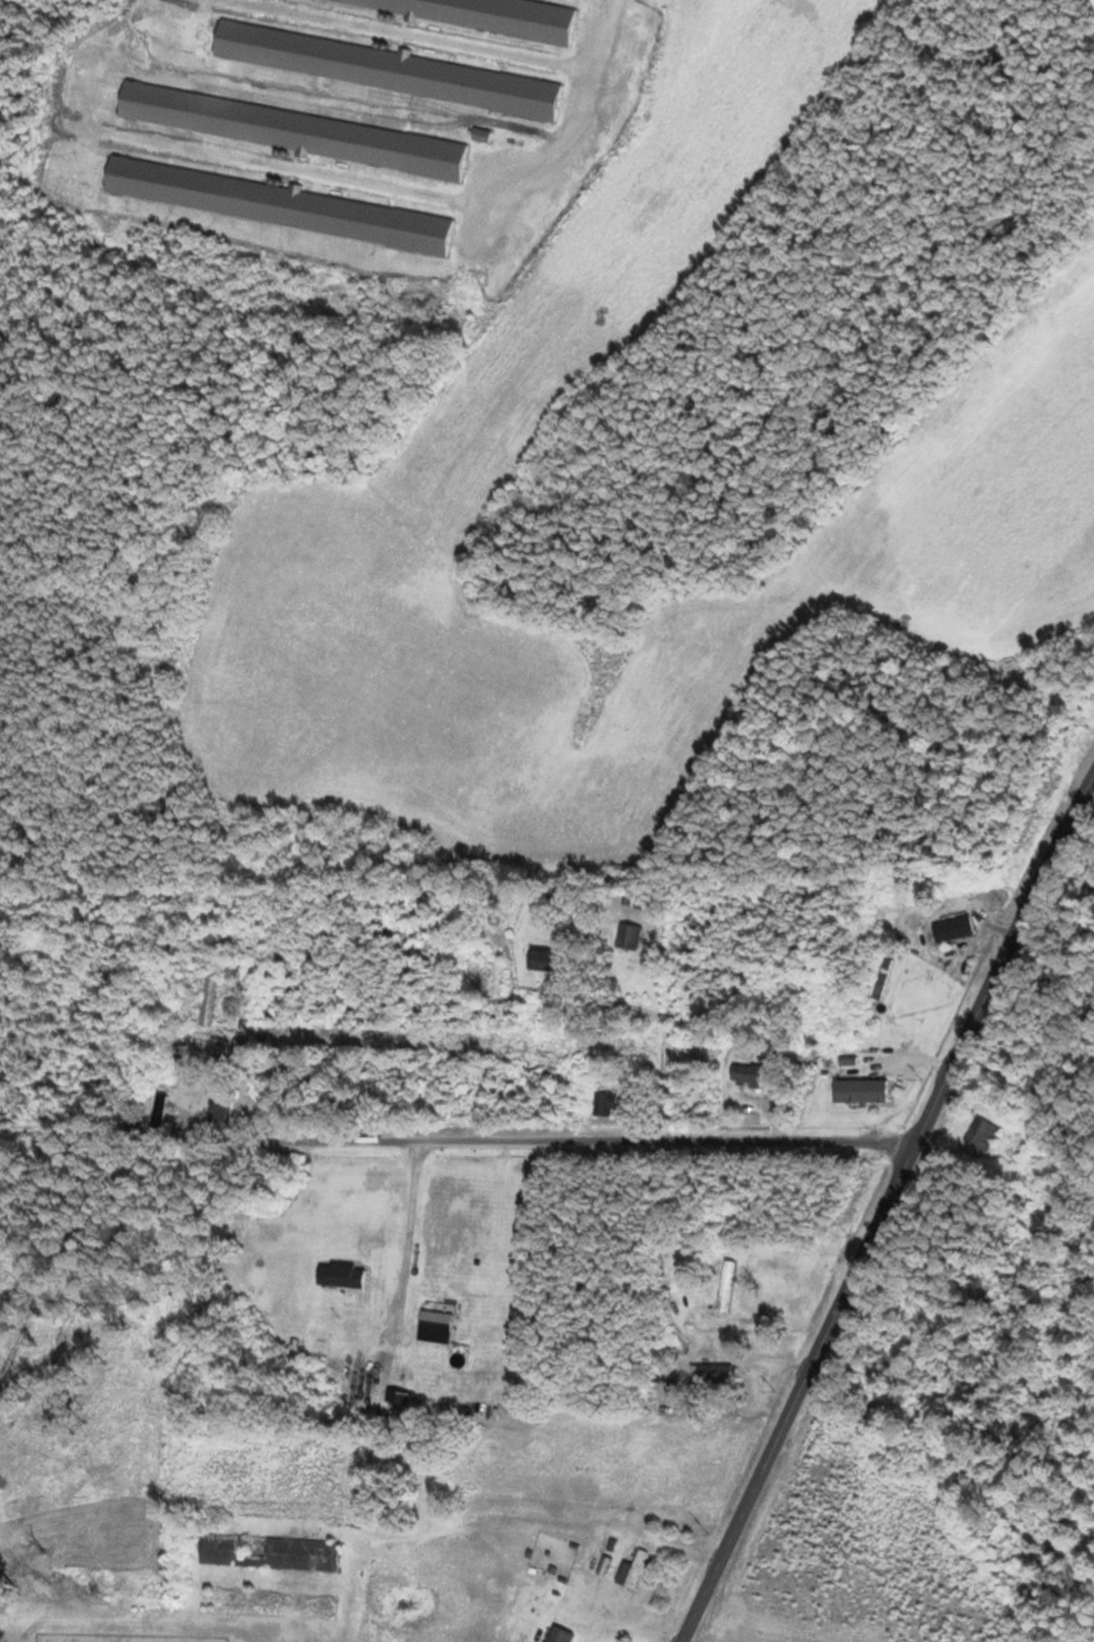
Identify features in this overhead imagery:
building: (483, 14)
building: (385, 70)
building: (289, 131)
building: (275, 206)
building: (949, 929)
building: (625, 937)
road: (676, 938)
building: (538, 959)
building: (879, 978)
building: (205, 1004)
road: (498, 1011)
building: (208, 1048)
road: (176, 1066)
building: (742, 1076)
building: (601, 1104)
building: (156, 1112)
building: (216, 1115)
building: (975, 1136)
road: (545, 1137)
road: (273, 1205)
road: (885, 1208)
road: (168, 1211)
building: (723, 1286)
building: (314, 1310)
building: (431, 1326)
building: (709, 1374)
road: (496, 1475)
building: (263, 1552)
building: (627, 1571)
building: (260, 1603)
building: (555, 1635)

